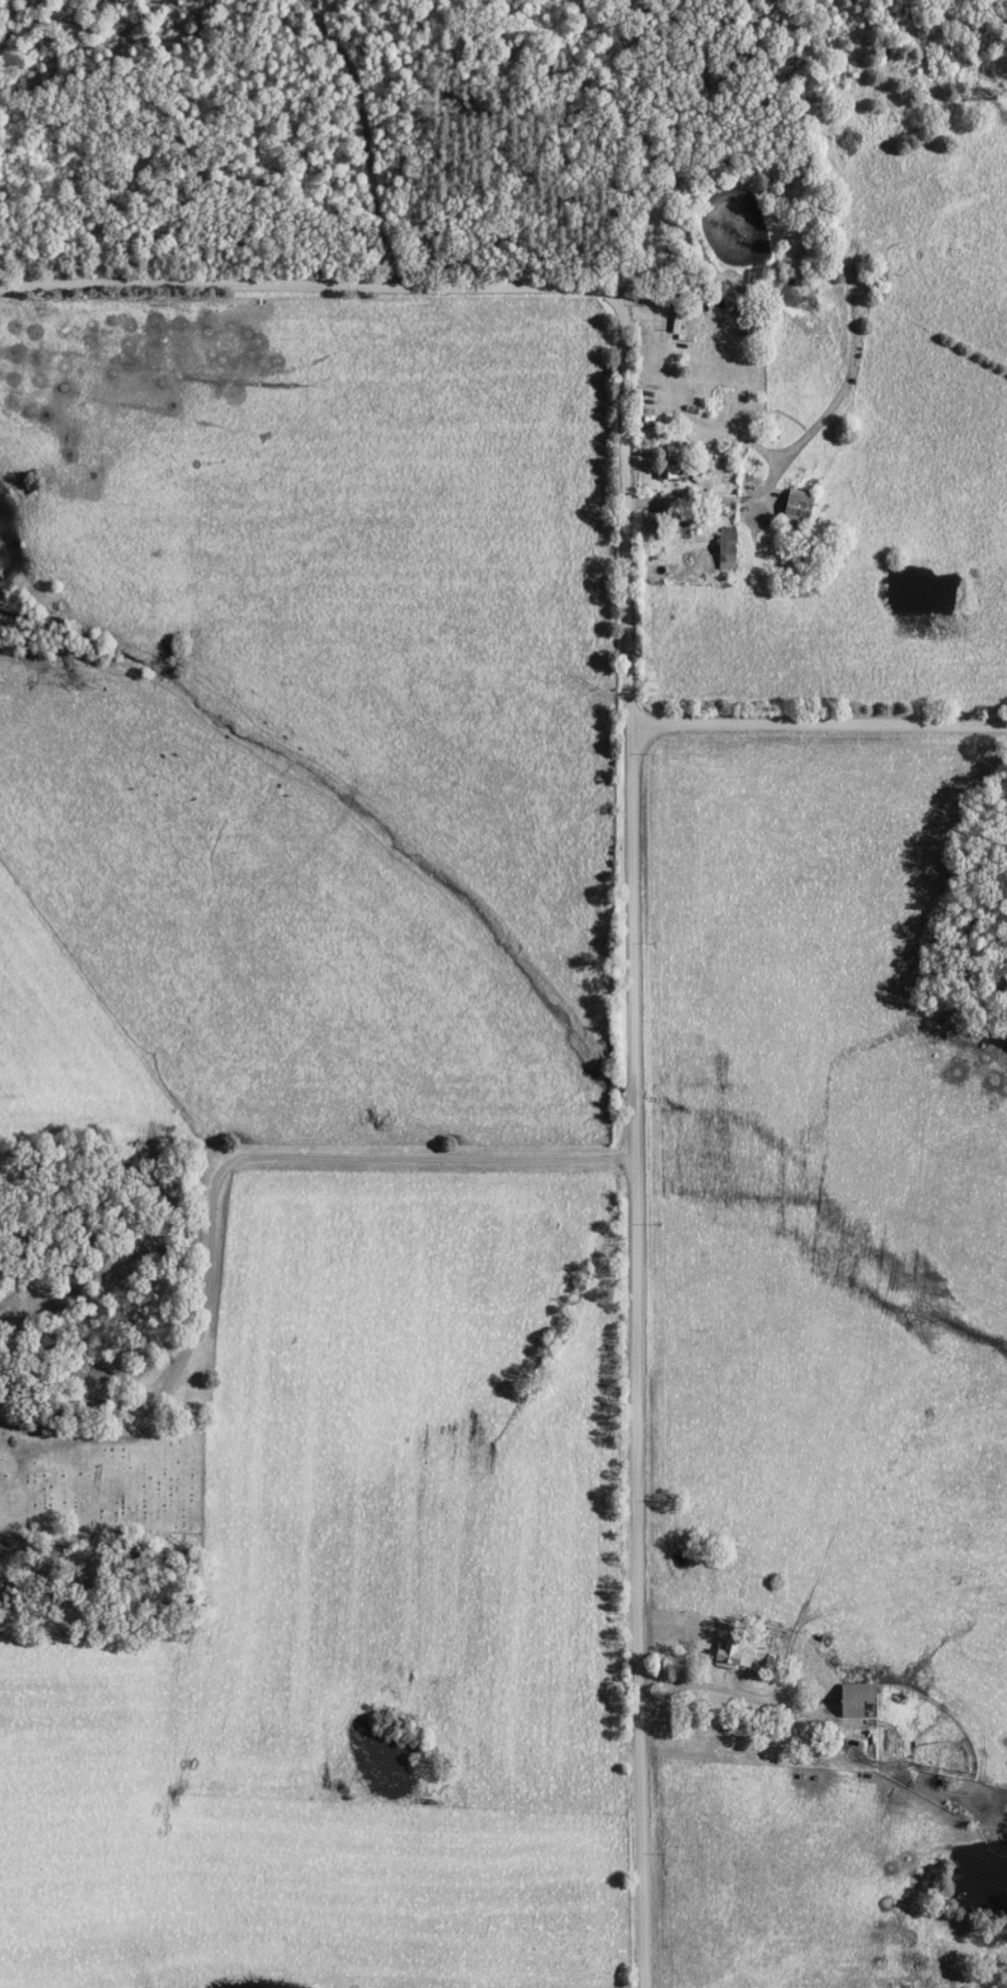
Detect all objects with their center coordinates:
building: (677, 325)
building: (671, 466)
building: (797, 505)
building: (727, 550)
road: (822, 721)
road: (631, 831)
road: (305, 1156)
park: (102, 1478)
building: (732, 1654)
building: (856, 1701)
road: (687, 1884)

